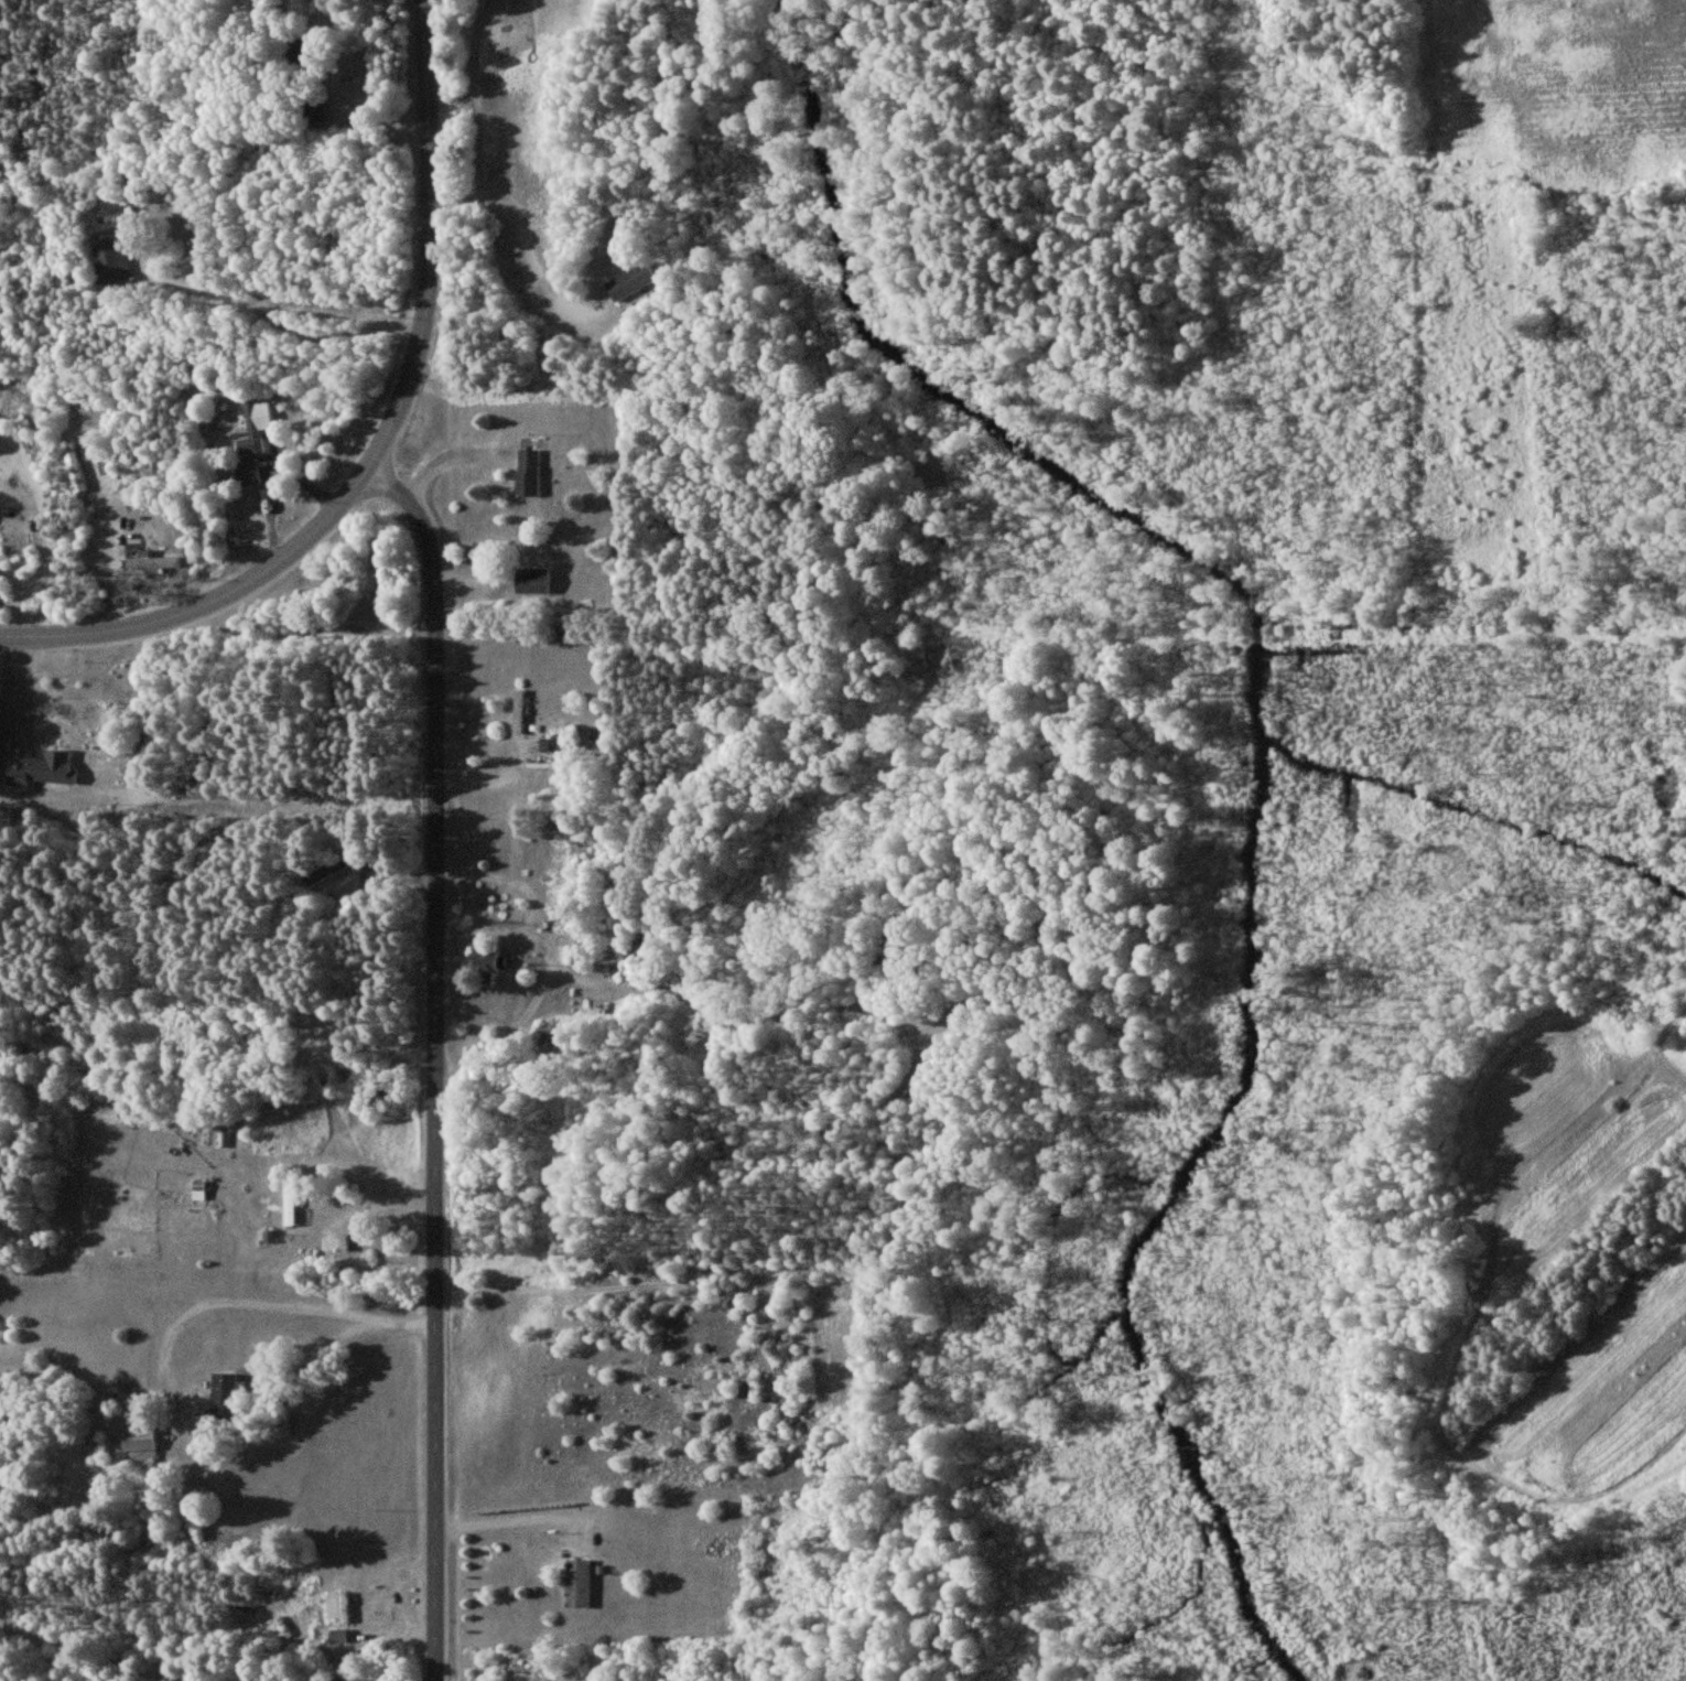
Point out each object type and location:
building: (313, 109)
road: (430, 243)
building: (112, 259)
building: (631, 281)
road: (263, 316)
building: (253, 428)
building: (74, 465)
building: (247, 472)
building: (528, 472)
building: (151, 562)
building: (531, 581)
road: (206, 605)
building: (41, 769)
building: (328, 869)
building: (486, 966)
road: (433, 1063)
building: (289, 1205)
building: (223, 1394)
building: (140, 1444)
road: (505, 1523)
building: (576, 1583)
building: (337, 1605)
building: (337, 1636)

